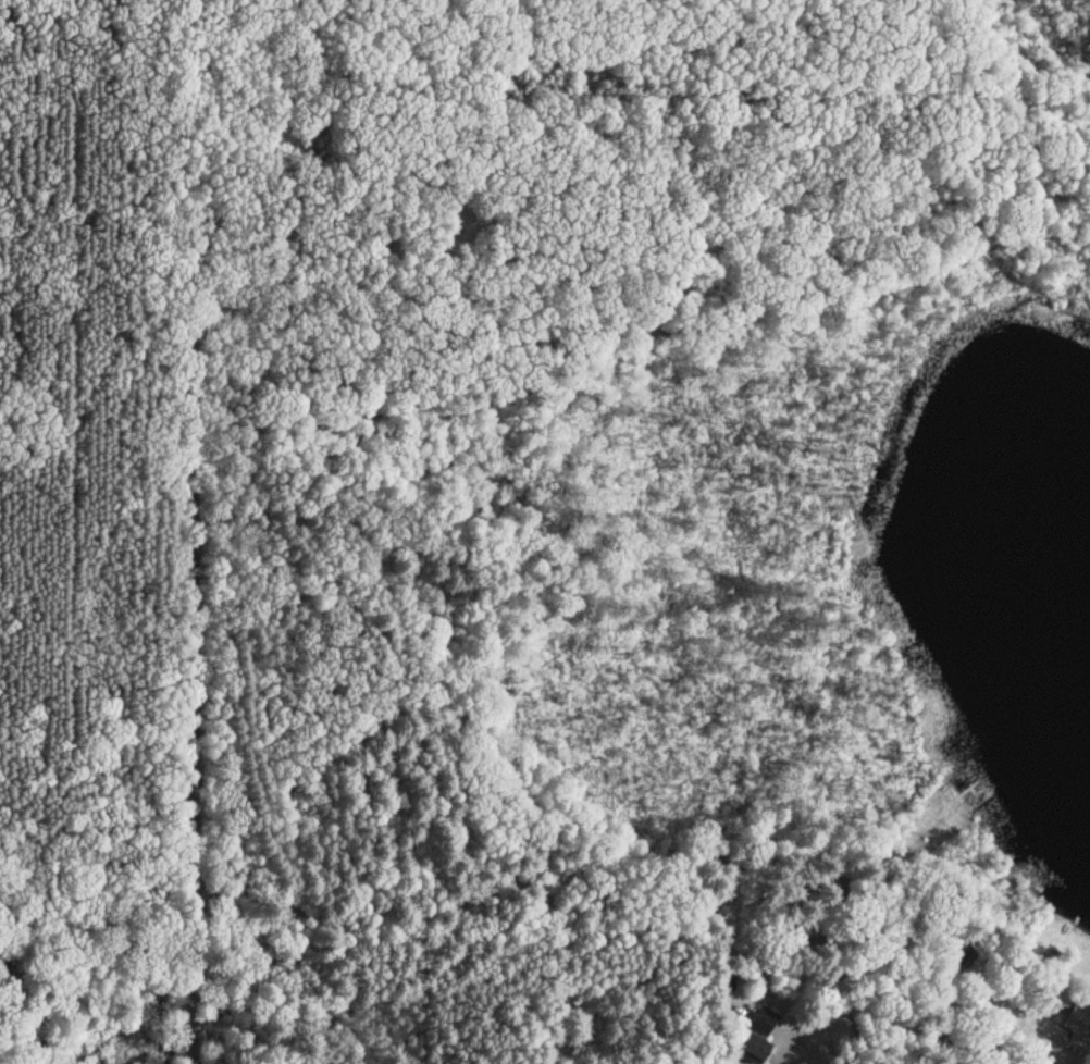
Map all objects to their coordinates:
road: (191, 136)
road: (188, 668)
road: (509, 933)
building: (1073, 1016)
building: (758, 1035)

